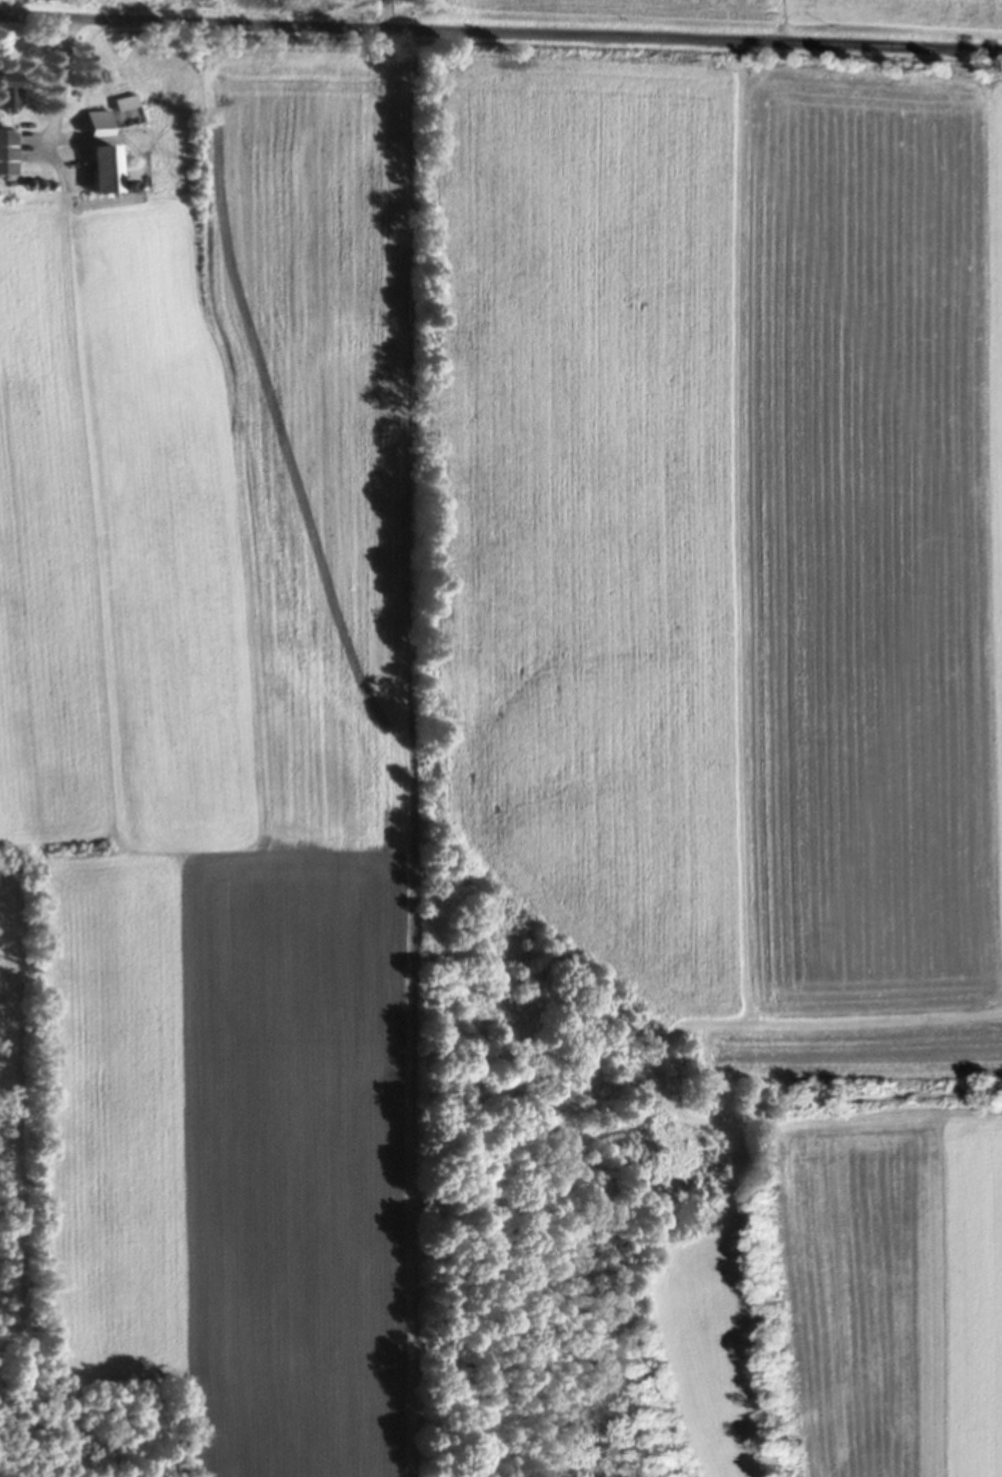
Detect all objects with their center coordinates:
building: (41, 0)
road: (16, 10)
road: (501, 37)
road: (58, 89)
building: (7, 93)
building: (126, 113)
building: (94, 125)
building: (7, 154)
building: (98, 170)

